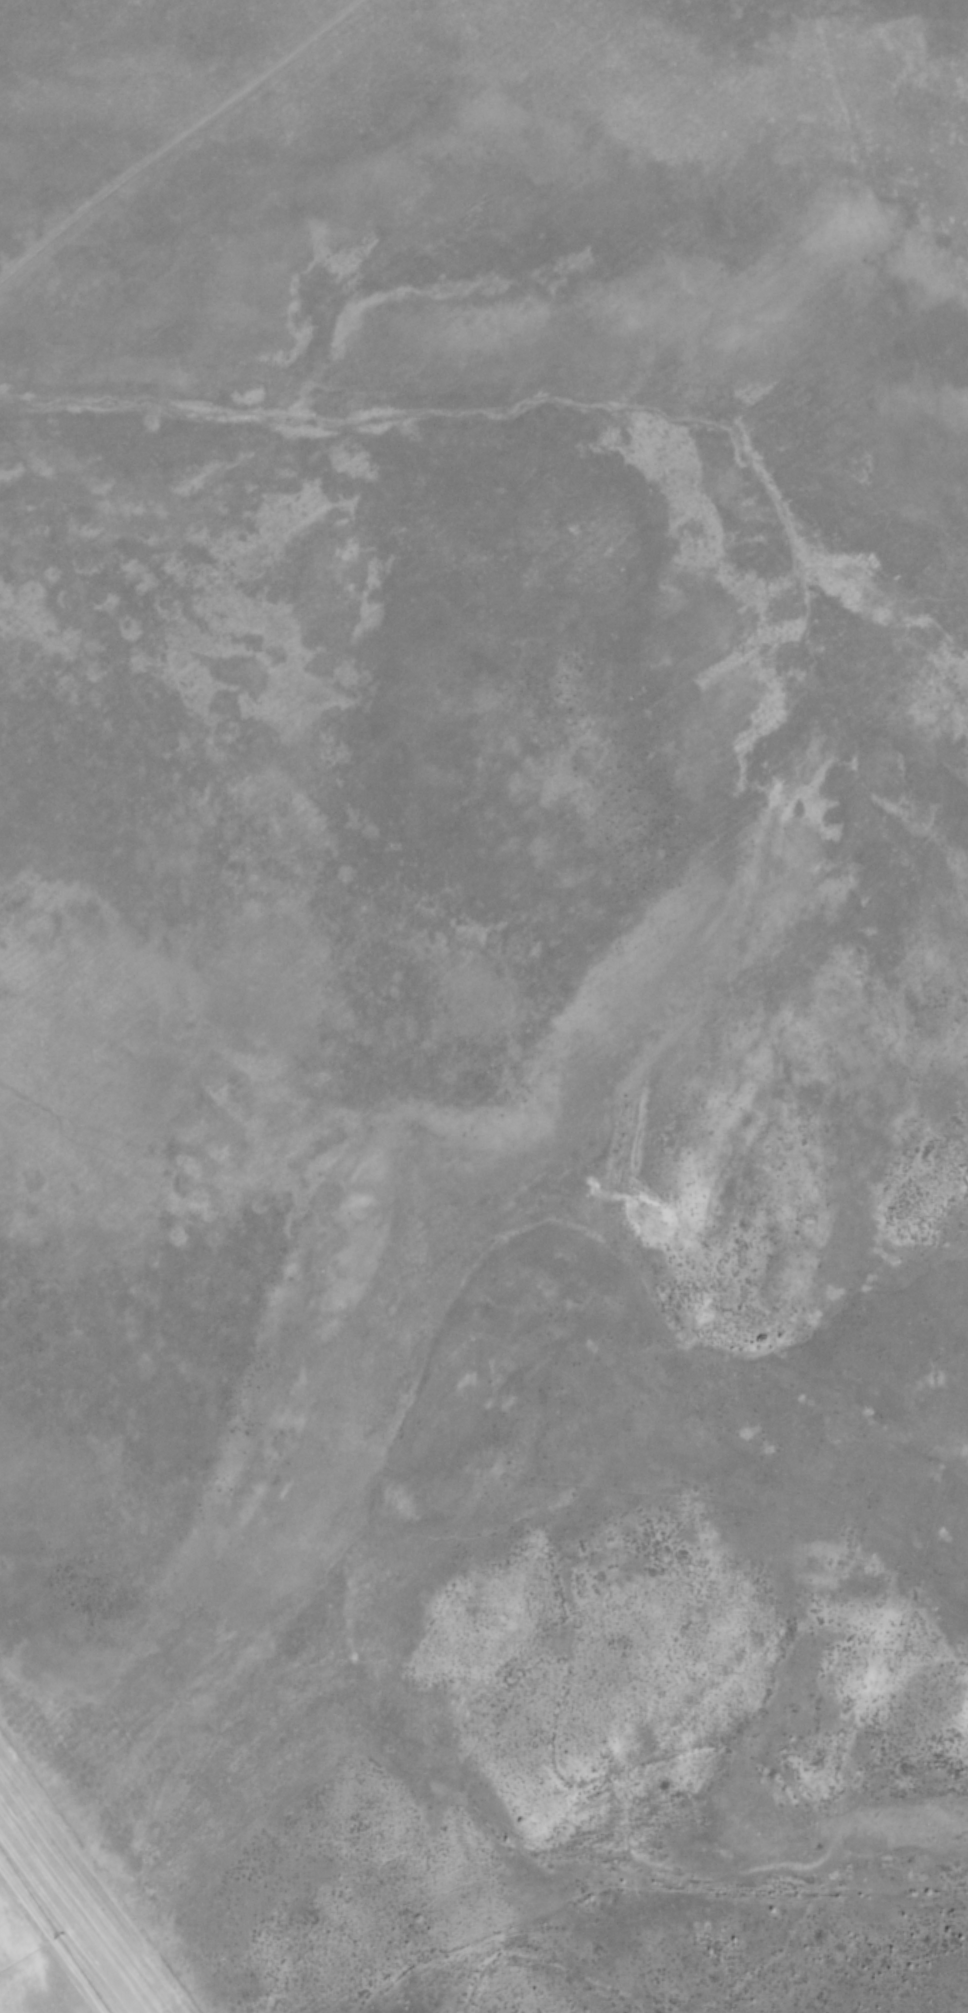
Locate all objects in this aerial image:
road: (118, 33)
crop: (71, 1915)

